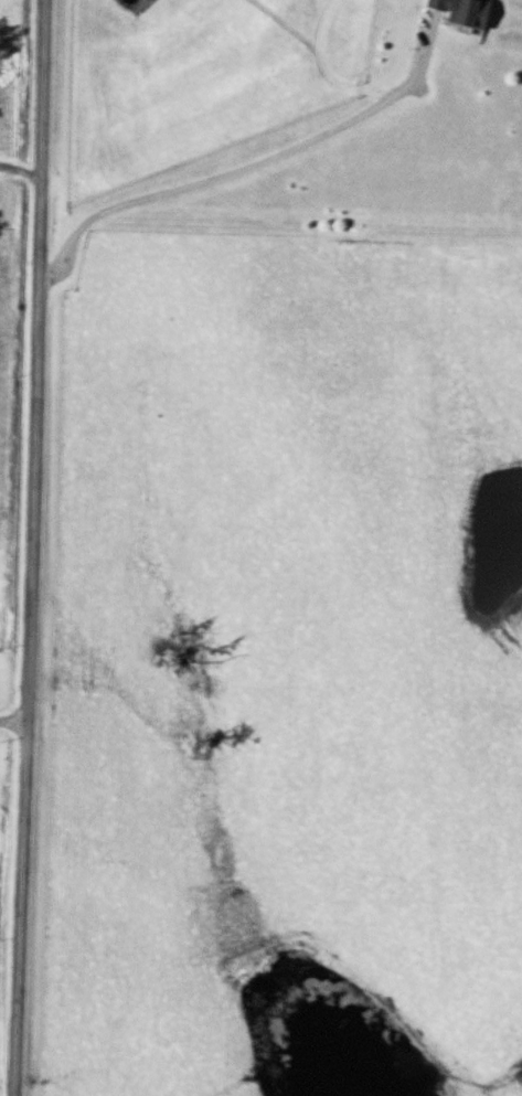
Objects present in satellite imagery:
building: (470, 12)
road: (29, 547)

